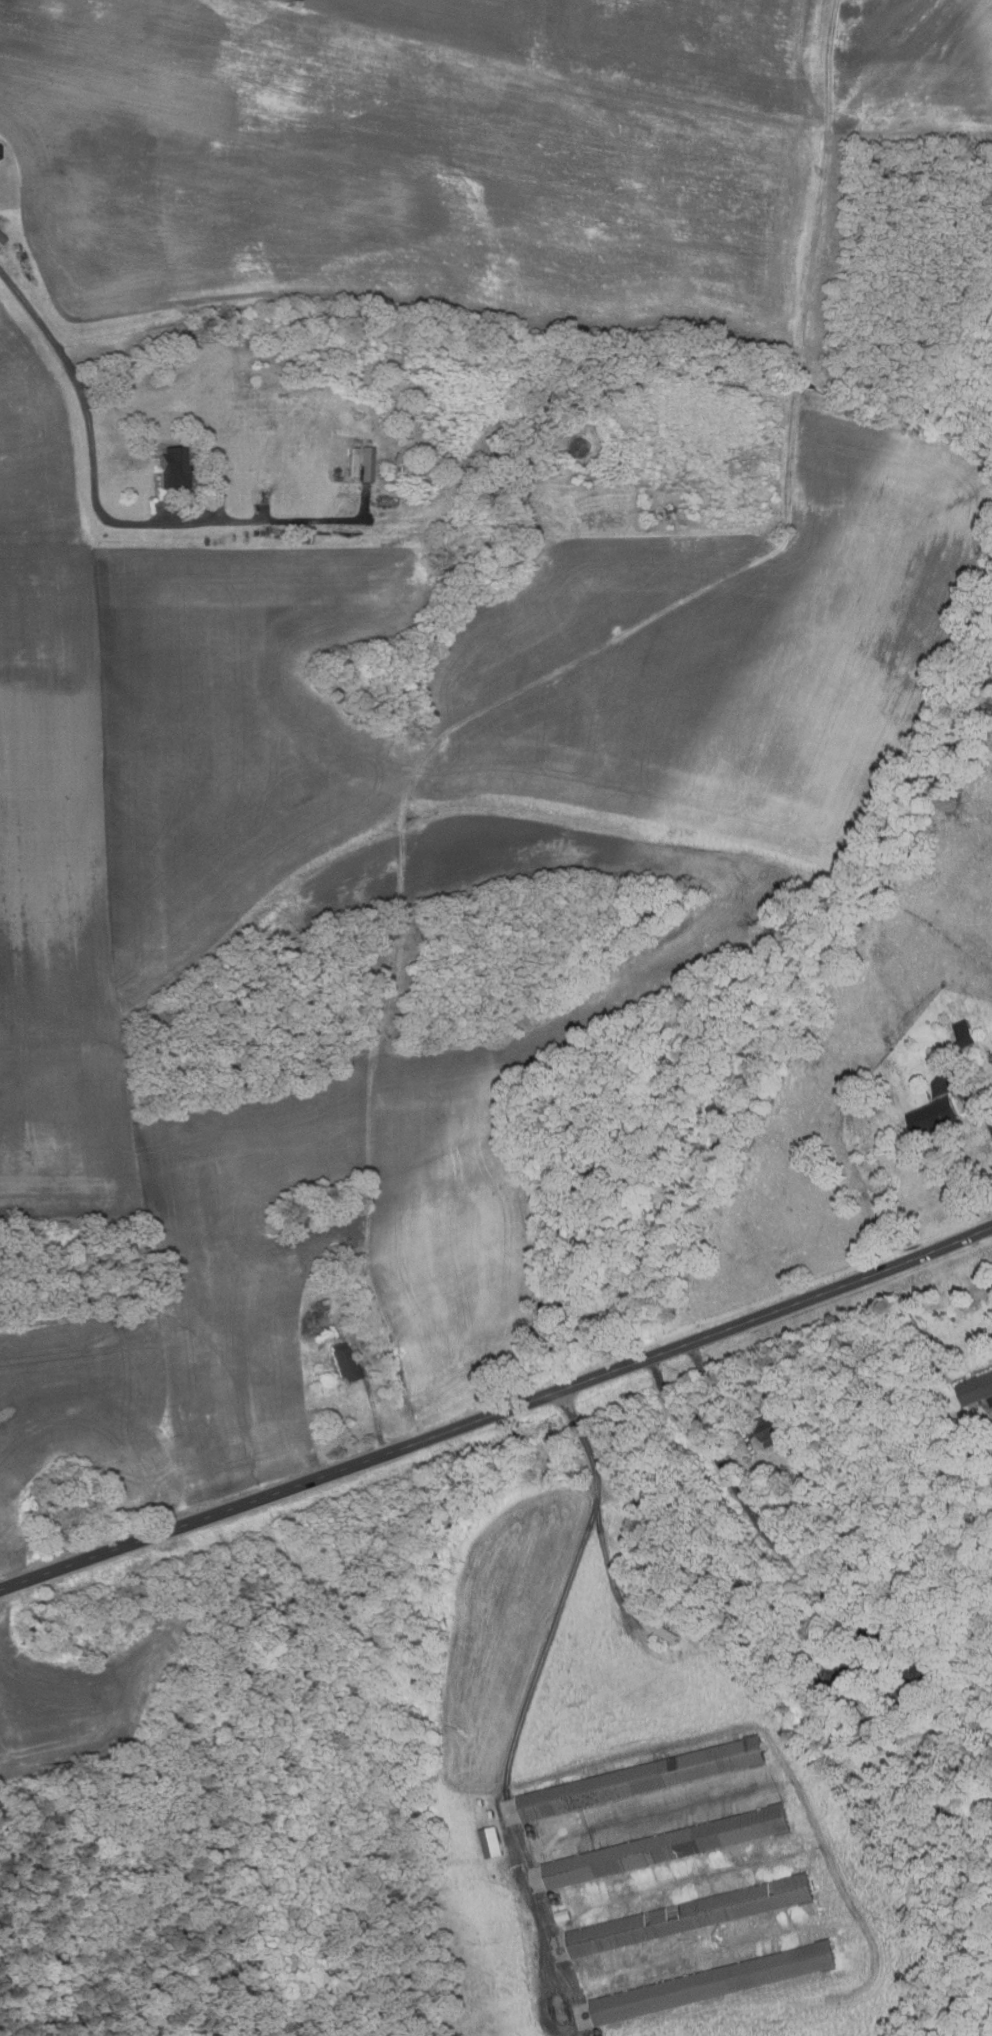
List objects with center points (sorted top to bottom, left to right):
crop: (916, 68)
crop: (435, 161)
building: (1, 238)
crop: (36, 444)
road: (91, 458)
building: (364, 463)
building: (171, 469)
crop: (57, 904)
building: (964, 1032)
road: (979, 1103)
building: (931, 1114)
crop: (453, 1265)
building: (342, 1361)
building: (975, 1388)
road: (717, 1394)
crop: (87, 1398)
road: (497, 1412)
road: (376, 1415)
building: (771, 1428)
road: (750, 1510)
road: (607, 1564)
road: (573, 1575)
building: (662, 1630)
building: (922, 1670)
building: (737, 1671)
crop: (80, 1696)
building: (867, 1705)
building: (835, 1732)
building: (641, 1778)
building: (493, 1814)
building: (494, 1842)
building: (666, 1845)
building: (690, 1914)
building: (712, 1982)

